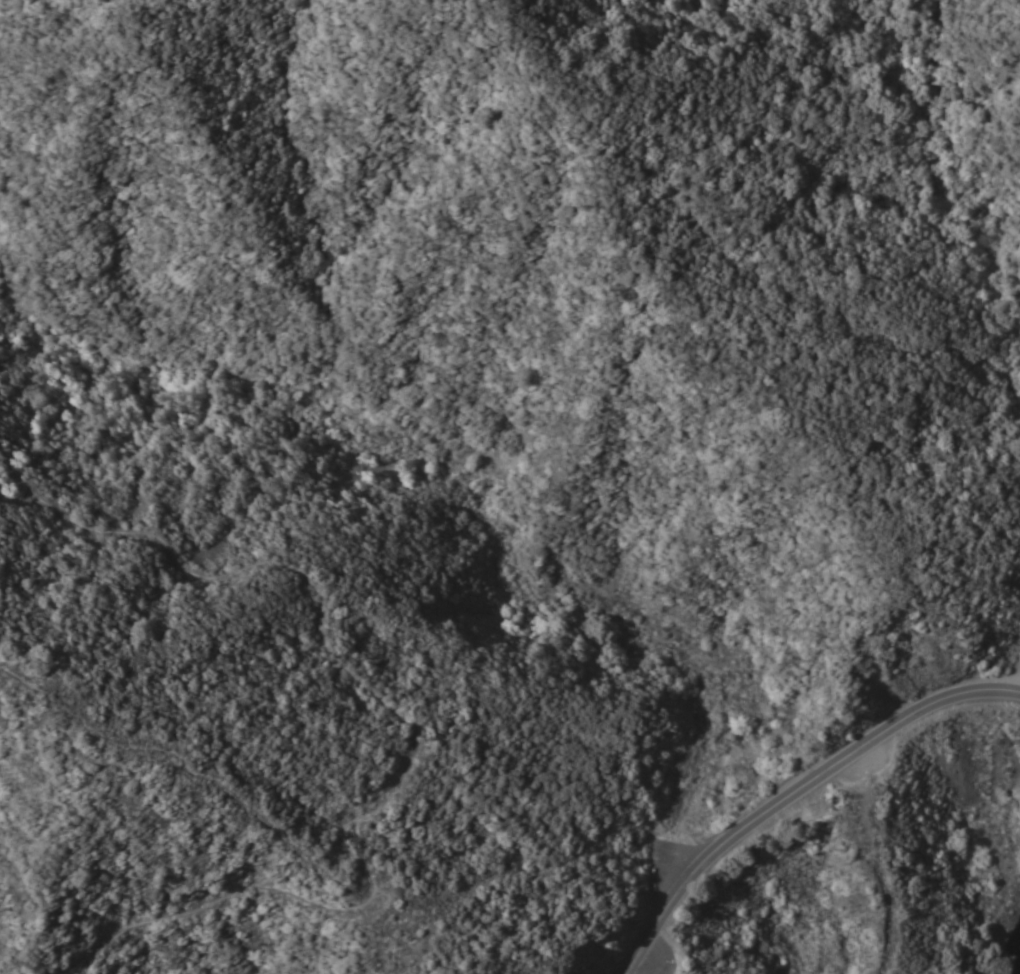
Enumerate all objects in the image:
road: (413, 737)
road: (181, 765)
road: (796, 791)

